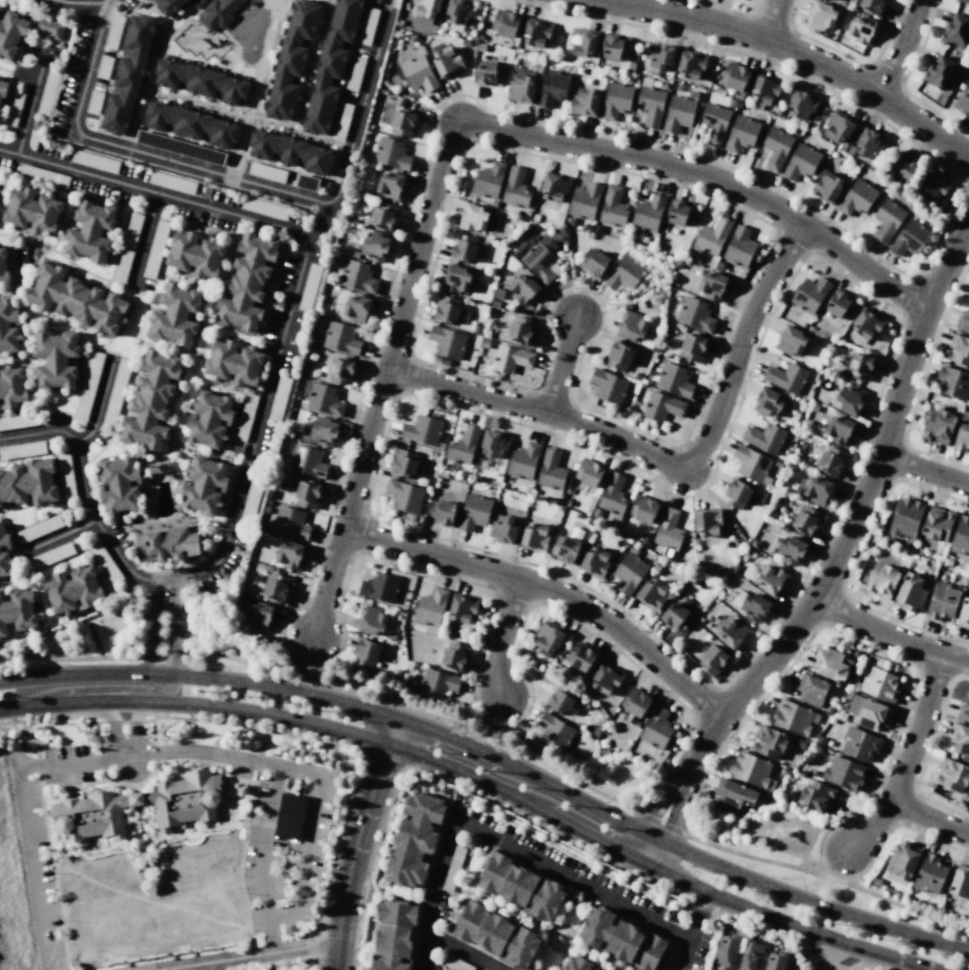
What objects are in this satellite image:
road: (274, 0)
road: (320, 1)
building: (964, 1)
road: (82, 2)
road: (151, 5)
building: (167, 6)
building: (871, 6)
road: (732, 9)
building: (425, 10)
building: (459, 11)
building: (217, 13)
building: (821, 15)
road: (772, 20)
building: (505, 23)
building: (49, 28)
building: (861, 30)
building: (955, 31)
building: (536, 33)
building: (11, 35)
building: (583, 43)
building: (615, 47)
road: (900, 49)
road: (796, 52)
road: (750, 54)
building: (660, 56)
road: (849, 58)
building: (290, 60)
road: (308, 61)
building: (446, 61)
road: (155, 65)
building: (690, 65)
building: (330, 67)
building: (938, 72)
building: (128, 73)
building: (418, 73)
building: (489, 73)
building: (734, 76)
building: (199, 80)
road: (903, 81)
building: (522, 86)
road: (256, 88)
building: (552, 88)
building: (1, 90)
building: (764, 90)
building: (616, 100)
road: (31, 101)
road: (198, 101)
building: (584, 101)
building: (962, 103)
building: (651, 105)
building: (802, 105)
building: (680, 113)
building: (402, 123)
building: (715, 123)
building: (191, 124)
building: (839, 127)
road: (296, 131)
building: (741, 133)
road: (456, 135)
building: (870, 144)
building: (775, 148)
building: (290, 152)
building: (391, 153)
building: (801, 162)
building: (904, 168)
road: (289, 169)
road: (239, 179)
building: (488, 180)
building: (306, 182)
building: (390, 185)
building: (828, 187)
building: (932, 187)
building: (515, 188)
building: (554, 188)
building: (857, 198)
building: (584, 201)
building: (613, 207)
building: (31, 209)
building: (648, 213)
building: (680, 213)
building: (383, 216)
building: (476, 219)
building: (887, 220)
building: (90, 231)
building: (713, 236)
building: (910, 238)
road: (21, 239)
road: (144, 241)
building: (739, 247)
building: (373, 248)
building: (464, 248)
road: (45, 249)
building: (193, 253)
building: (536, 259)
road: (10, 262)
building: (594, 262)
building: (3, 265)
building: (624, 273)
building: (357, 277)
building: (457, 279)
building: (247, 282)
building: (0, 283)
road: (120, 283)
road: (218, 283)
building: (712, 285)
building: (523, 289)
building: (810, 294)
building: (74, 299)
building: (839, 304)
building: (356, 308)
building: (447, 309)
building: (695, 314)
building: (176, 315)
building: (963, 321)
building: (865, 325)
building: (3, 326)
road: (72, 326)
building: (632, 327)
building: (809, 328)
building: (519, 330)
building: (341, 338)
building: (791, 340)
building: (447, 342)
road: (137, 343)
building: (823, 343)
road: (168, 347)
building: (692, 347)
building: (958, 349)
road: (198, 356)
building: (619, 356)
building: (511, 358)
building: (55, 359)
building: (233, 361)
building: (860, 365)
road: (565, 367)
building: (341, 370)
building: (786, 377)
building: (674, 380)
road: (920, 382)
building: (953, 382)
building: (12, 383)
road: (220, 386)
building: (608, 387)
building: (322, 399)
building: (849, 400)
road: (99, 401)
building: (767, 402)
building: (151, 403)
road: (264, 404)
building: (662, 406)
building: (814, 407)
road: (179, 411)
building: (799, 418)
building: (209, 420)
building: (939, 425)
building: (839, 429)
building: (422, 430)
building: (321, 433)
building: (962, 433)
building: (764, 437)
road: (169, 442)
building: (494, 443)
building: (463, 445)
building: (441, 446)
road: (169, 451)
building: (523, 460)
building: (831, 461)
building: (307, 462)
building: (403, 463)
building: (750, 463)
building: (778, 463)
road: (668, 464)
building: (791, 466)
building: (551, 471)
road: (924, 471)
building: (589, 472)
building: (462, 480)
building: (27, 482)
building: (118, 484)
building: (204, 485)
building: (527, 489)
building: (816, 489)
building: (306, 492)
building: (738, 493)
building: (270, 495)
building: (404, 495)
road: (688, 496)
building: (612, 497)
building: (764, 498)
building: (267, 502)
building: (565, 502)
building: (644, 508)
building: (265, 509)
building: (442, 512)
building: (474, 512)
building: (596, 513)
building: (770, 514)
building: (905, 517)
building: (782, 518)
building: (589, 521)
building: (706, 521)
building: (805, 521)
building: (290, 523)
building: (937, 523)
building: (261, 524)
building: (503, 529)
building: (668, 532)
building: (4, 536)
building: (960, 536)
road: (59, 537)
building: (534, 537)
building: (644, 541)
building: (890, 542)
building: (754, 543)
building: (171, 545)
building: (567, 546)
building: (790, 550)
building: (919, 551)
building: (290, 554)
road: (835, 561)
building: (594, 562)
road: (855, 562)
building: (946, 562)
building: (4, 564)
building: (735, 568)
building: (720, 570)
building: (628, 573)
road: (455, 579)
building: (694, 579)
building: (968, 579)
building: (771, 580)
building: (881, 580)
building: (276, 587)
building: (380, 587)
building: (241, 590)
road: (548, 590)
building: (75, 592)
building: (911, 592)
building: (651, 594)
building: (245, 600)
building: (685, 601)
building: (942, 601)
building: (752, 604)
building: (461, 608)
building: (18, 610)
building: (429, 611)
building: (964, 615)
building: (259, 616)
building: (675, 616)
building: (371, 620)
road: (285, 623)
road: (152, 627)
road: (175, 628)
building: (732, 633)
road: (889, 636)
road: (501, 637)
building: (548, 637)
building: (366, 652)
building: (454, 656)
building: (581, 656)
building: (713, 659)
road: (323, 662)
road: (306, 666)
building: (832, 666)
building: (605, 678)
road: (203, 679)
building: (437, 683)
building: (855, 685)
building: (879, 685)
building: (811, 689)
building: (849, 695)
building: (559, 699)
building: (635, 703)
road: (88, 704)
road: (8, 709)
building: (828, 709)
building: (963, 711)
road: (750, 713)
building: (869, 713)
road: (524, 714)
building: (793, 717)
building: (656, 728)
road: (341, 731)
building: (554, 731)
road: (139, 732)
road: (114, 734)
building: (960, 738)
building: (820, 740)
building: (769, 741)
building: (858, 743)
building: (800, 744)
road: (477, 749)
road: (926, 755)
road: (907, 758)
building: (964, 759)
building: (751, 770)
building: (786, 771)
building: (813, 772)
building: (843, 773)
building: (952, 774)
road: (598, 792)
building: (732, 794)
building: (816, 795)
building: (765, 797)
building: (963, 799)
building: (136, 810)
road: (639, 812)
road: (673, 813)
road: (27, 814)
road: (928, 819)
road: (659, 823)
road: (578, 830)
road: (682, 831)
park: (765, 833)
road: (884, 836)
building: (415, 837)
road: (308, 840)
road: (361, 842)
building: (902, 859)
road: (537, 861)
building: (929, 874)
road: (834, 876)
building: (876, 881)
building: (960, 881)
road: (754, 882)
building: (522, 886)
road: (468, 887)
road: (495, 903)
road: (586, 914)
road: (700, 917)
road: (786, 923)
road: (772, 933)
building: (395, 935)
road: (274, 936)
building: (498, 936)
building: (626, 941)
road: (427, 949)
road: (467, 949)
road: (558, 950)
building: (726, 952)
road: (830, 955)
building: (750, 956)
road: (254, 957)
road: (560, 960)
building: (776, 961)
building: (583, 964)
road: (210, 967)
building: (787, 969)

